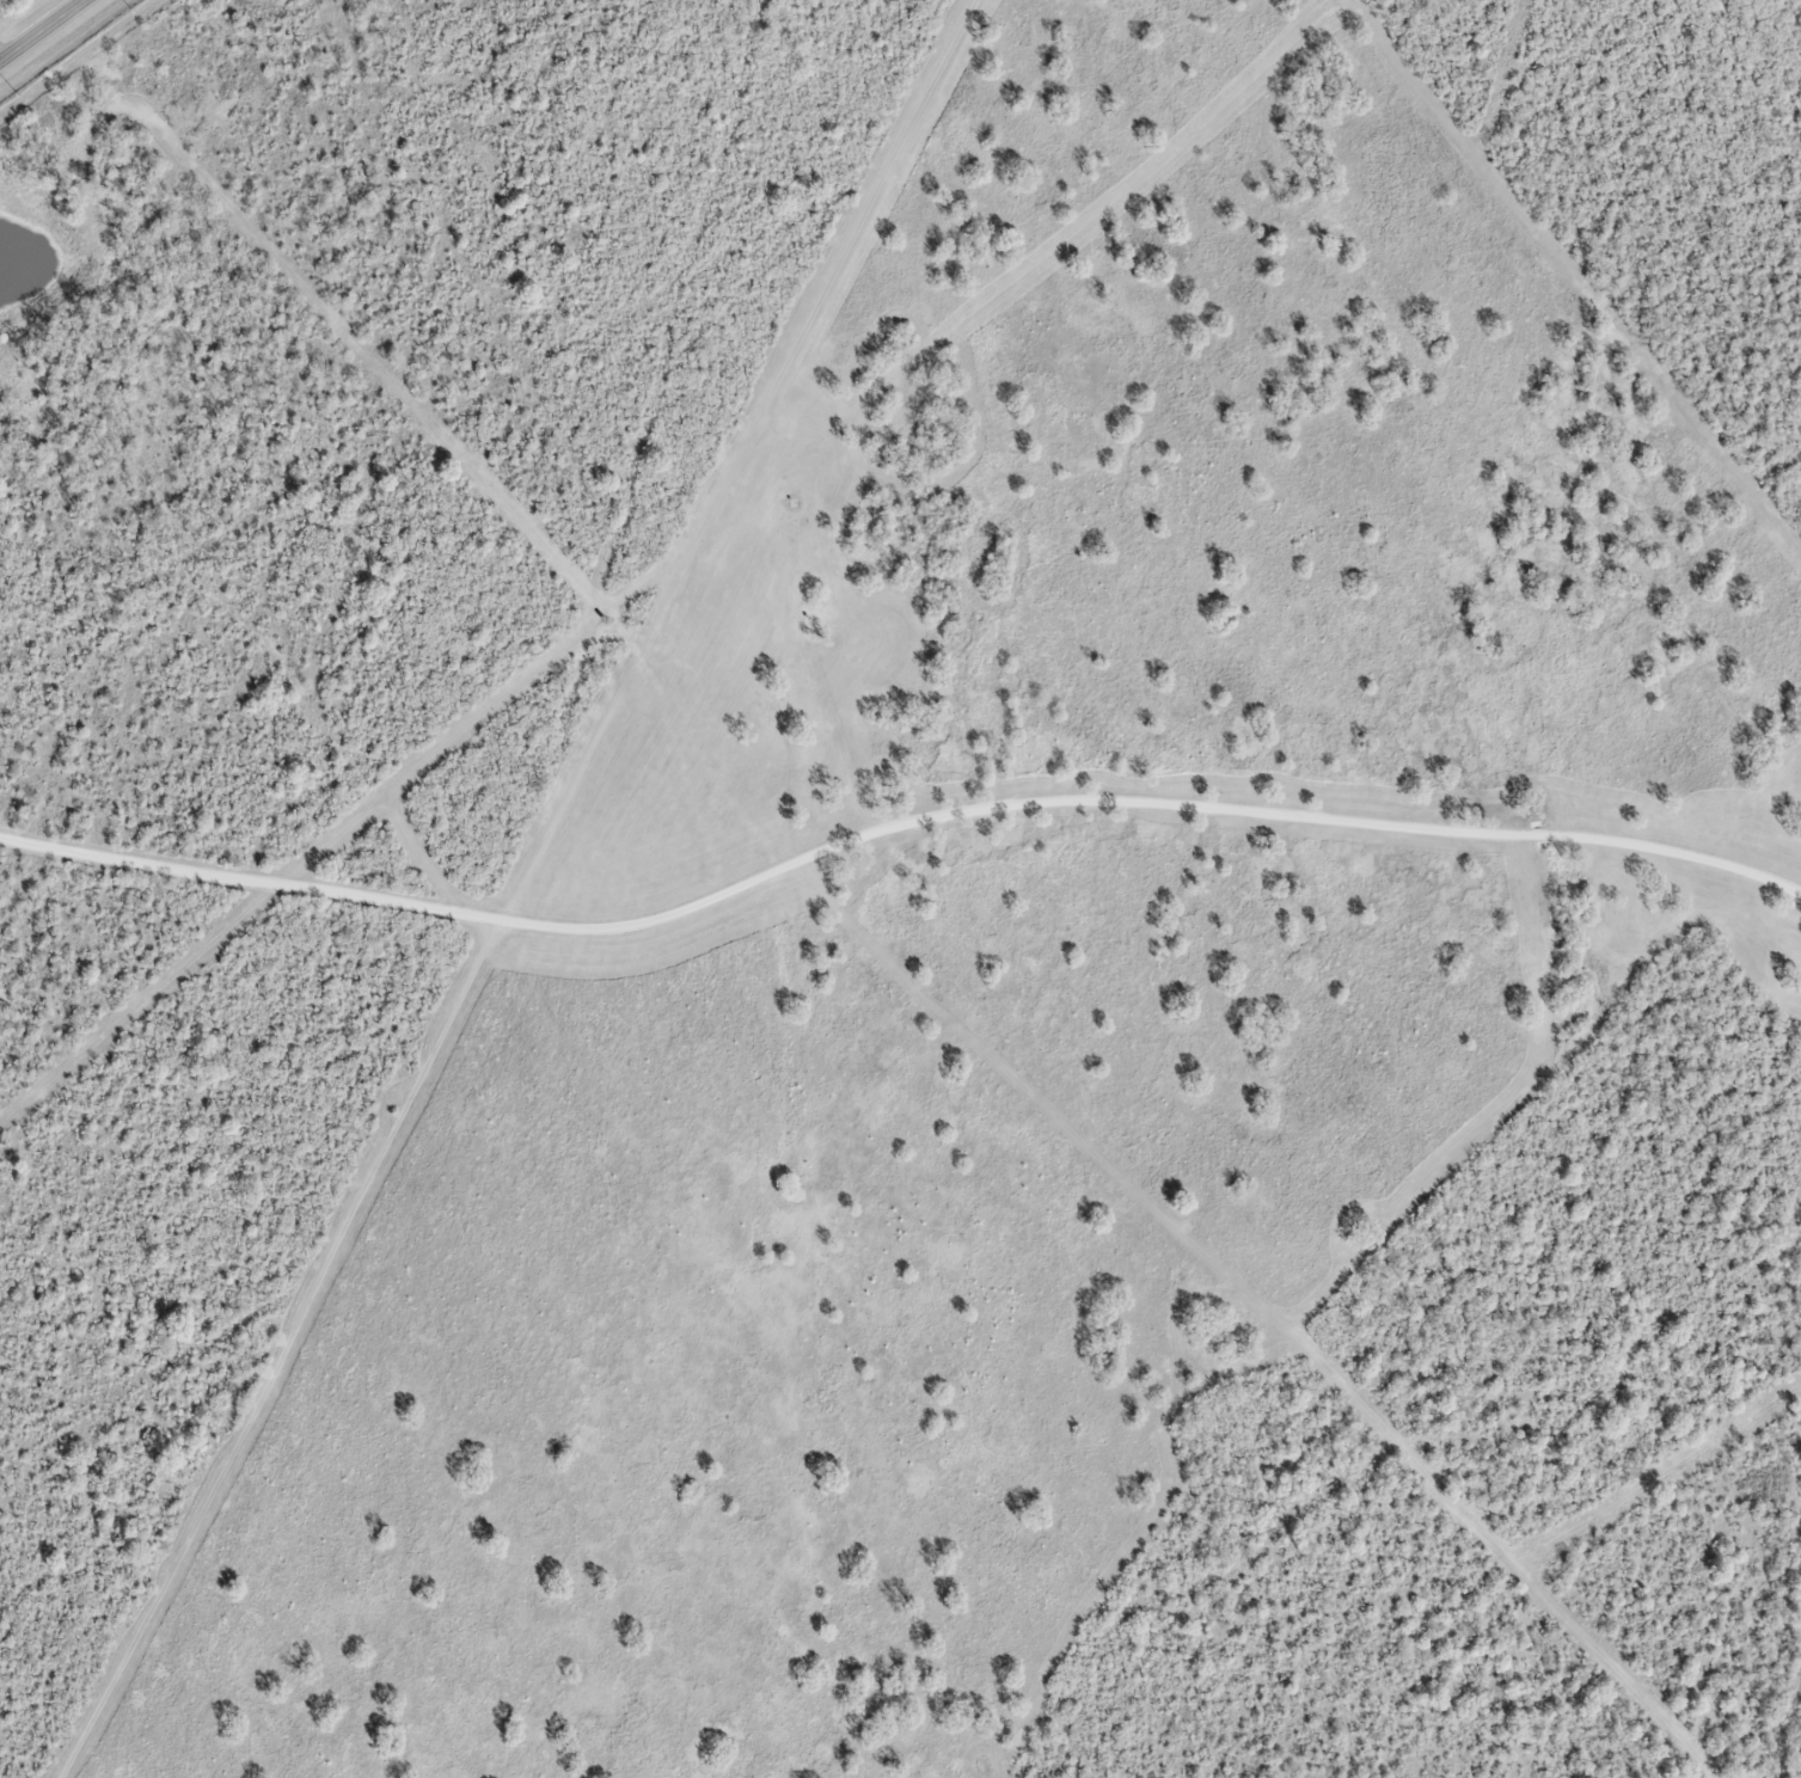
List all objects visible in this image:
road: (43, 31)
road: (1, 60)
road: (890, 821)

